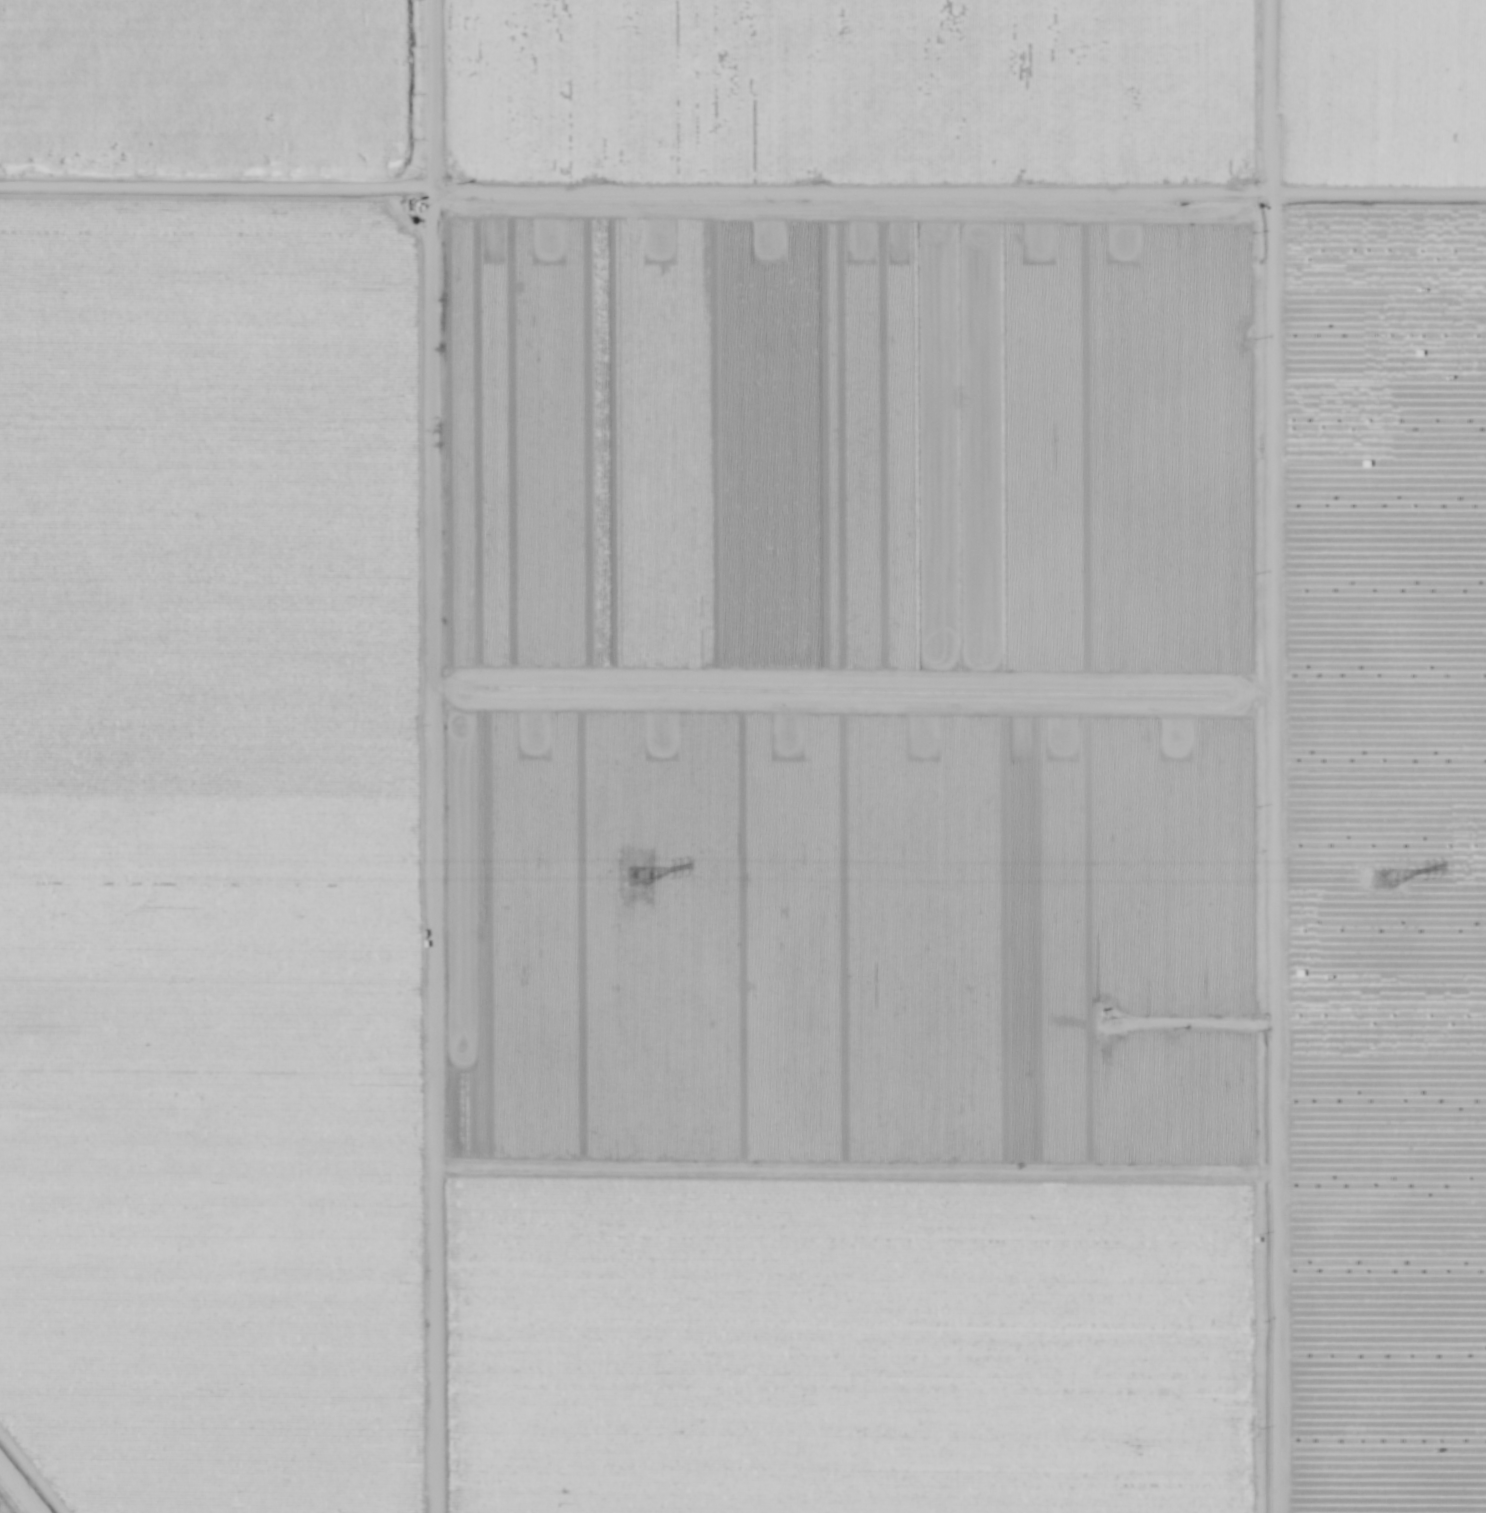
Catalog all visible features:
crop: (1399, 111)
crop: (687, 177)
road: (743, 184)
road: (1266, 756)
power tower: (635, 877)
power tower: (1379, 878)
crop: (745, 926)
road: (21, 1485)

